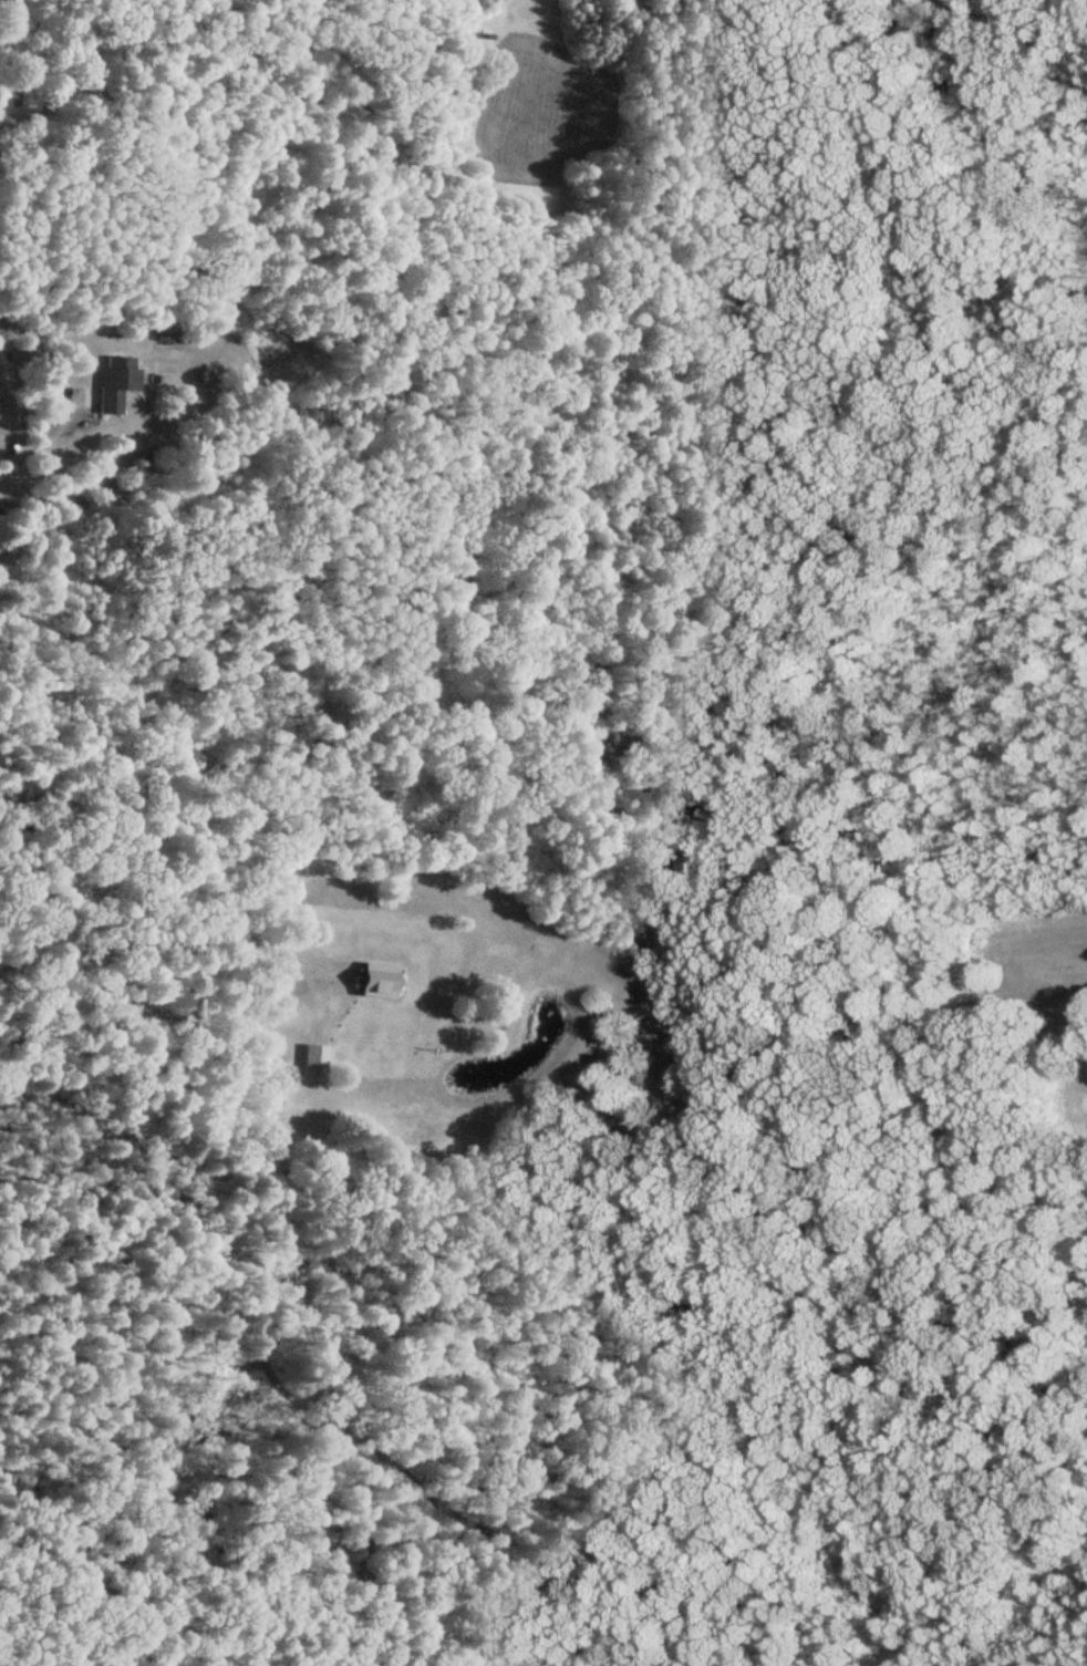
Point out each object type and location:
building: (115, 383)
building: (379, 980)
building: (311, 1059)

